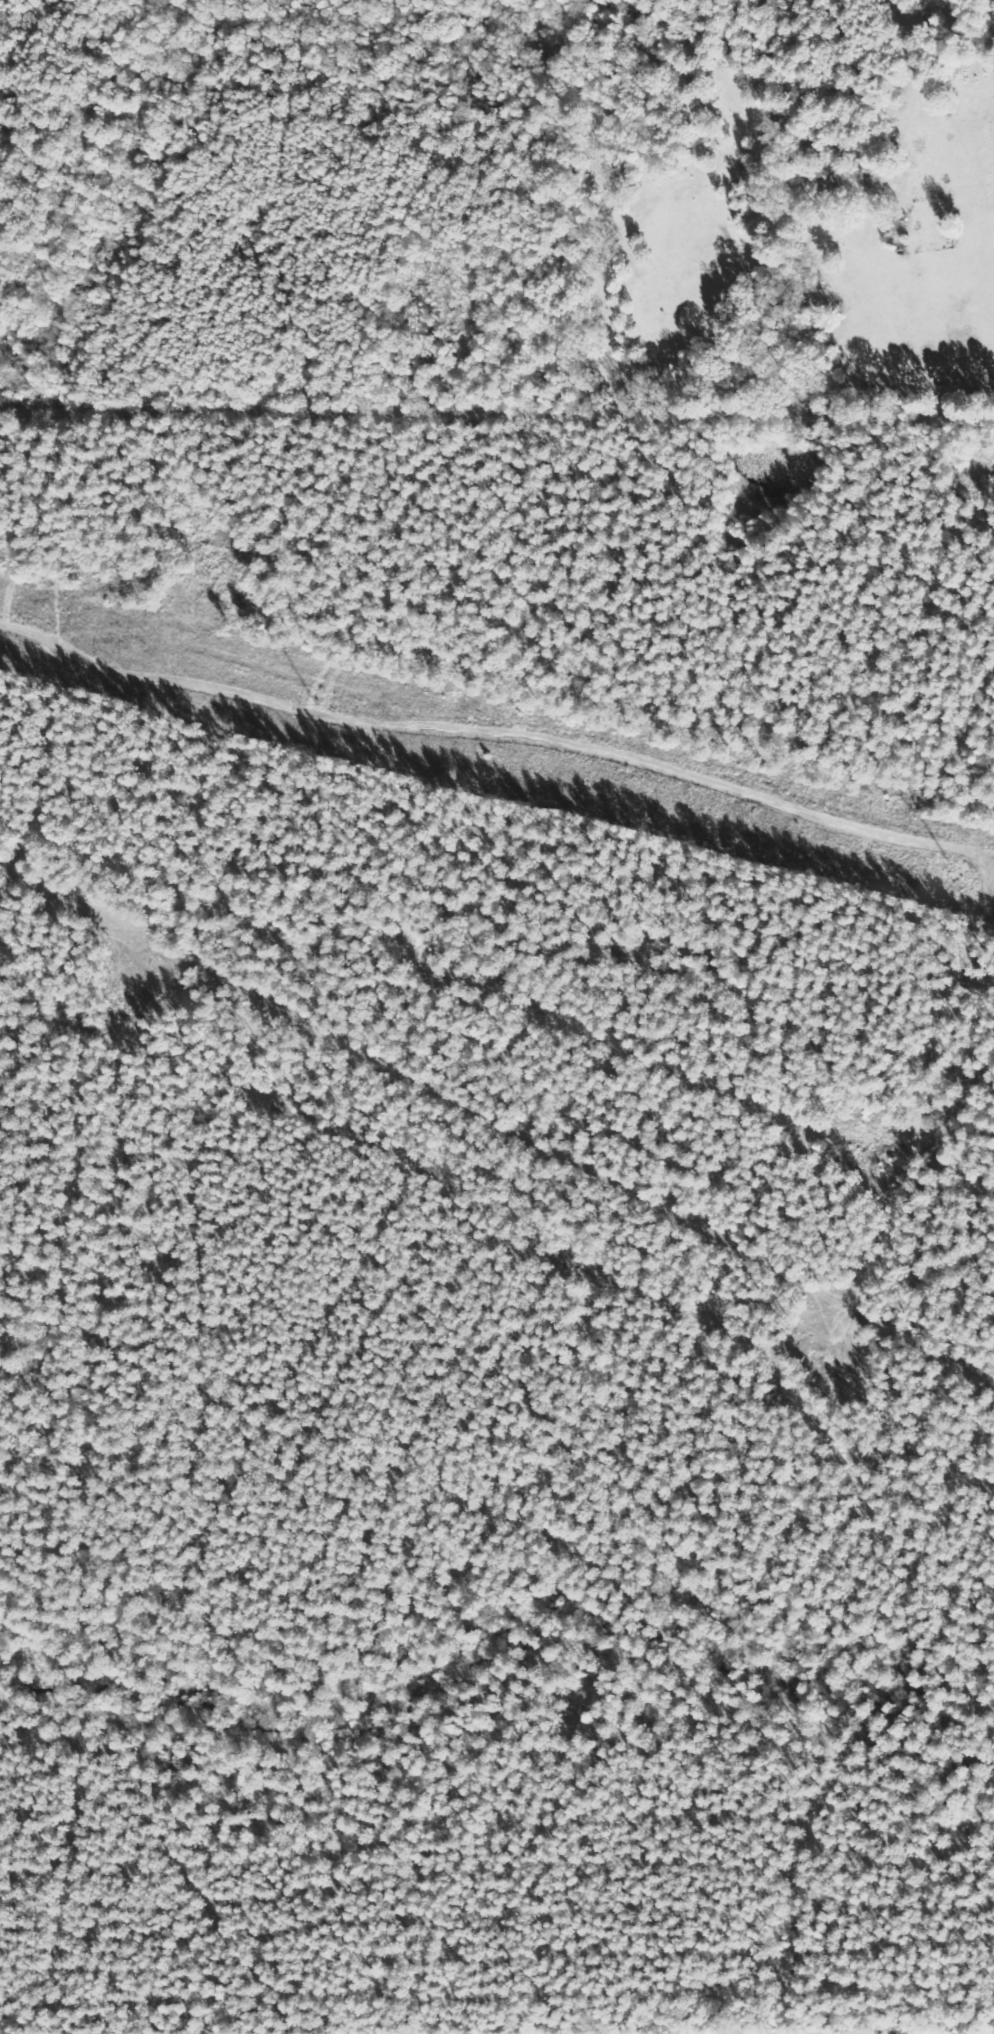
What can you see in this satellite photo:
road: (497, 413)
power tower: (311, 705)
power tower: (947, 866)

